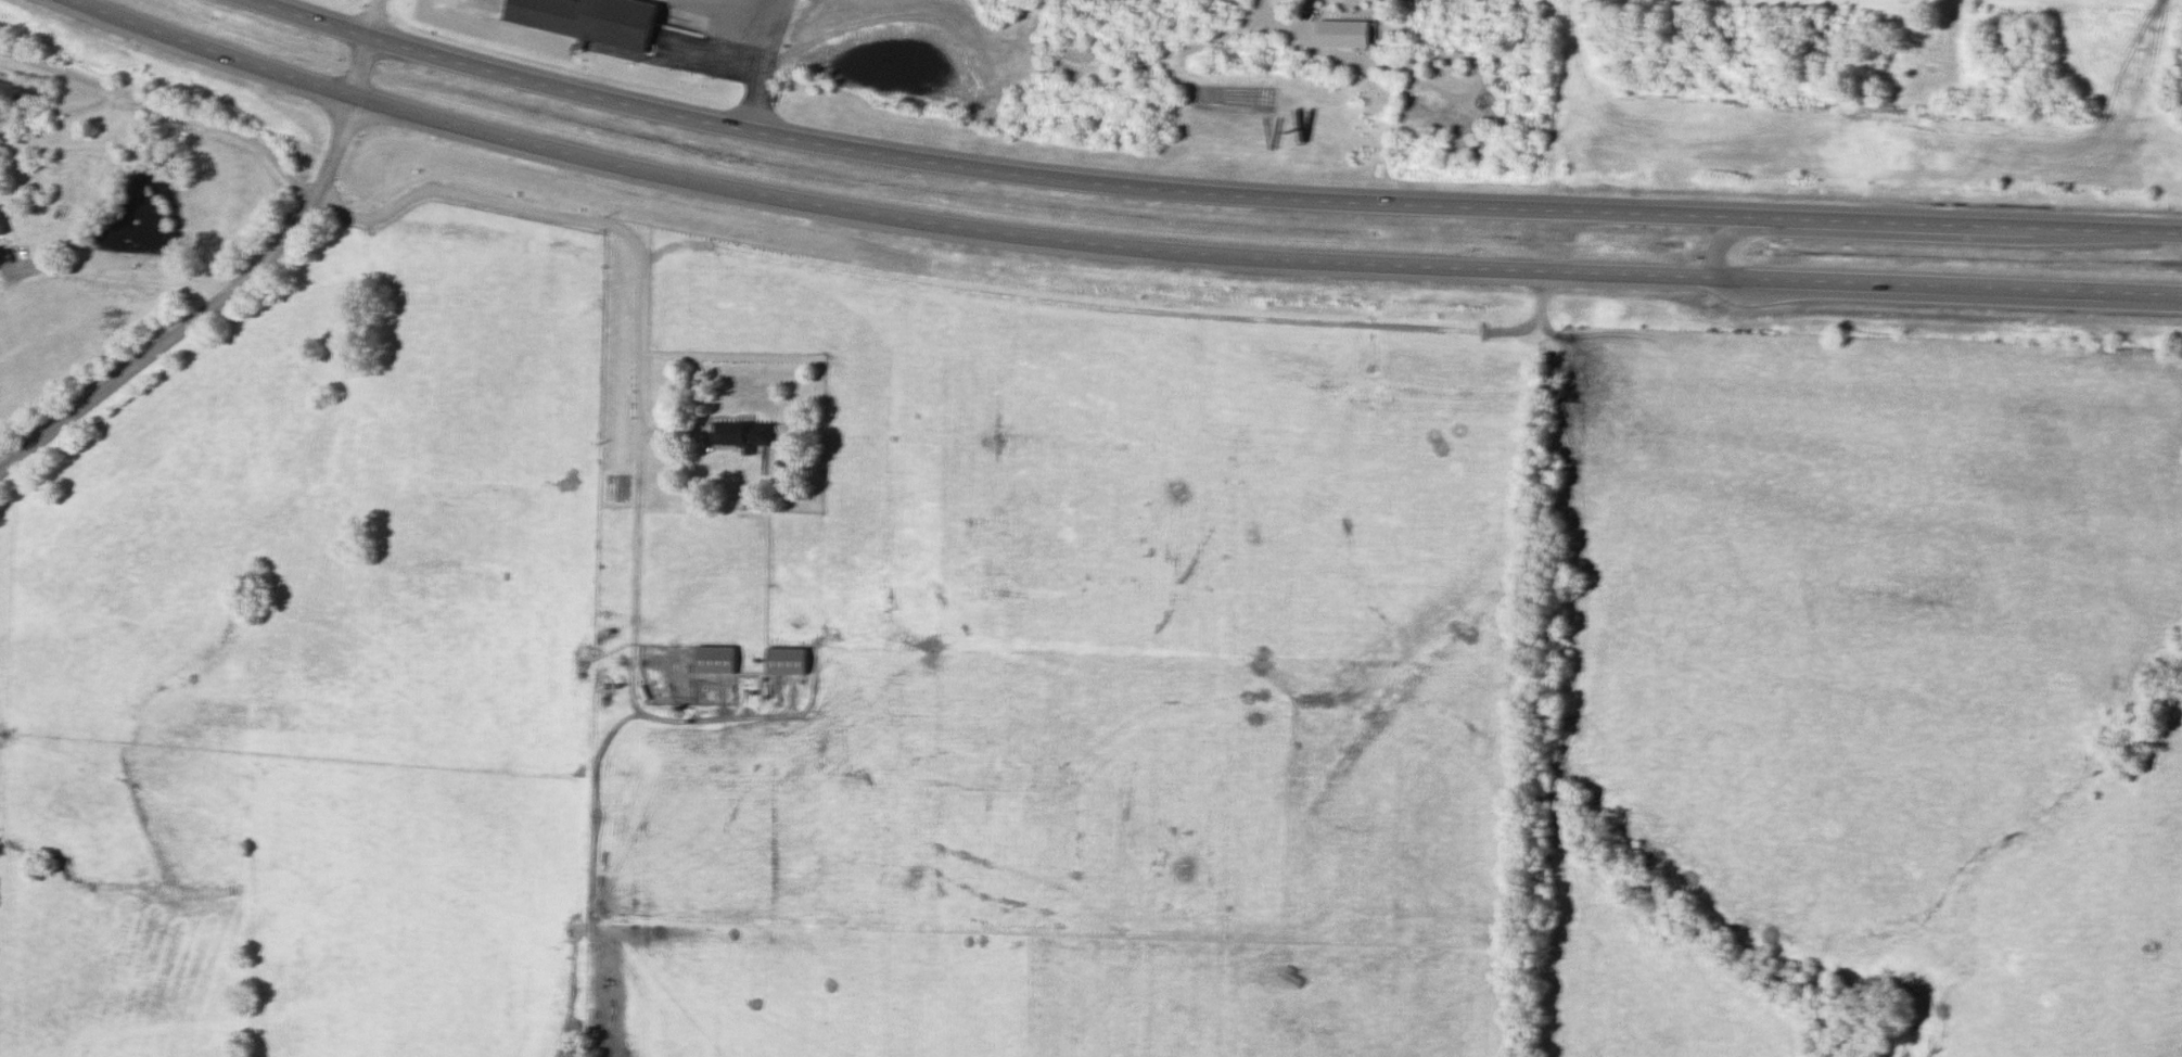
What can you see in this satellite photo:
road: (482, 0)
building: (588, 21)
road: (1953, 52)
road: (765, 66)
building: (1912, 73)
road: (166, 110)
road: (1212, 199)
road: (586, 220)
building: (1, 231)
road: (1722, 241)
road: (1114, 252)
road: (119, 276)
road: (248, 279)
road: (1107, 305)
building: (743, 435)
road: (636, 559)
building: (716, 661)
building: (787, 662)

